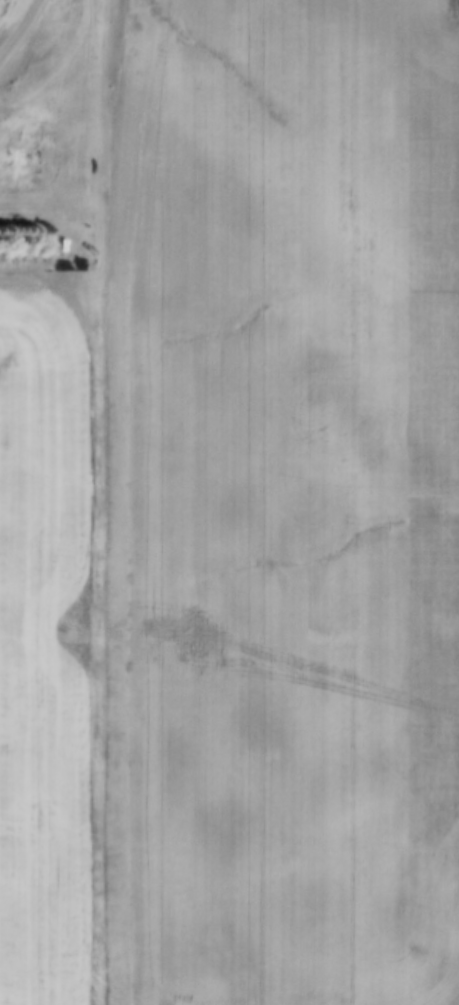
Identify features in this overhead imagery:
road: (20, 28)

